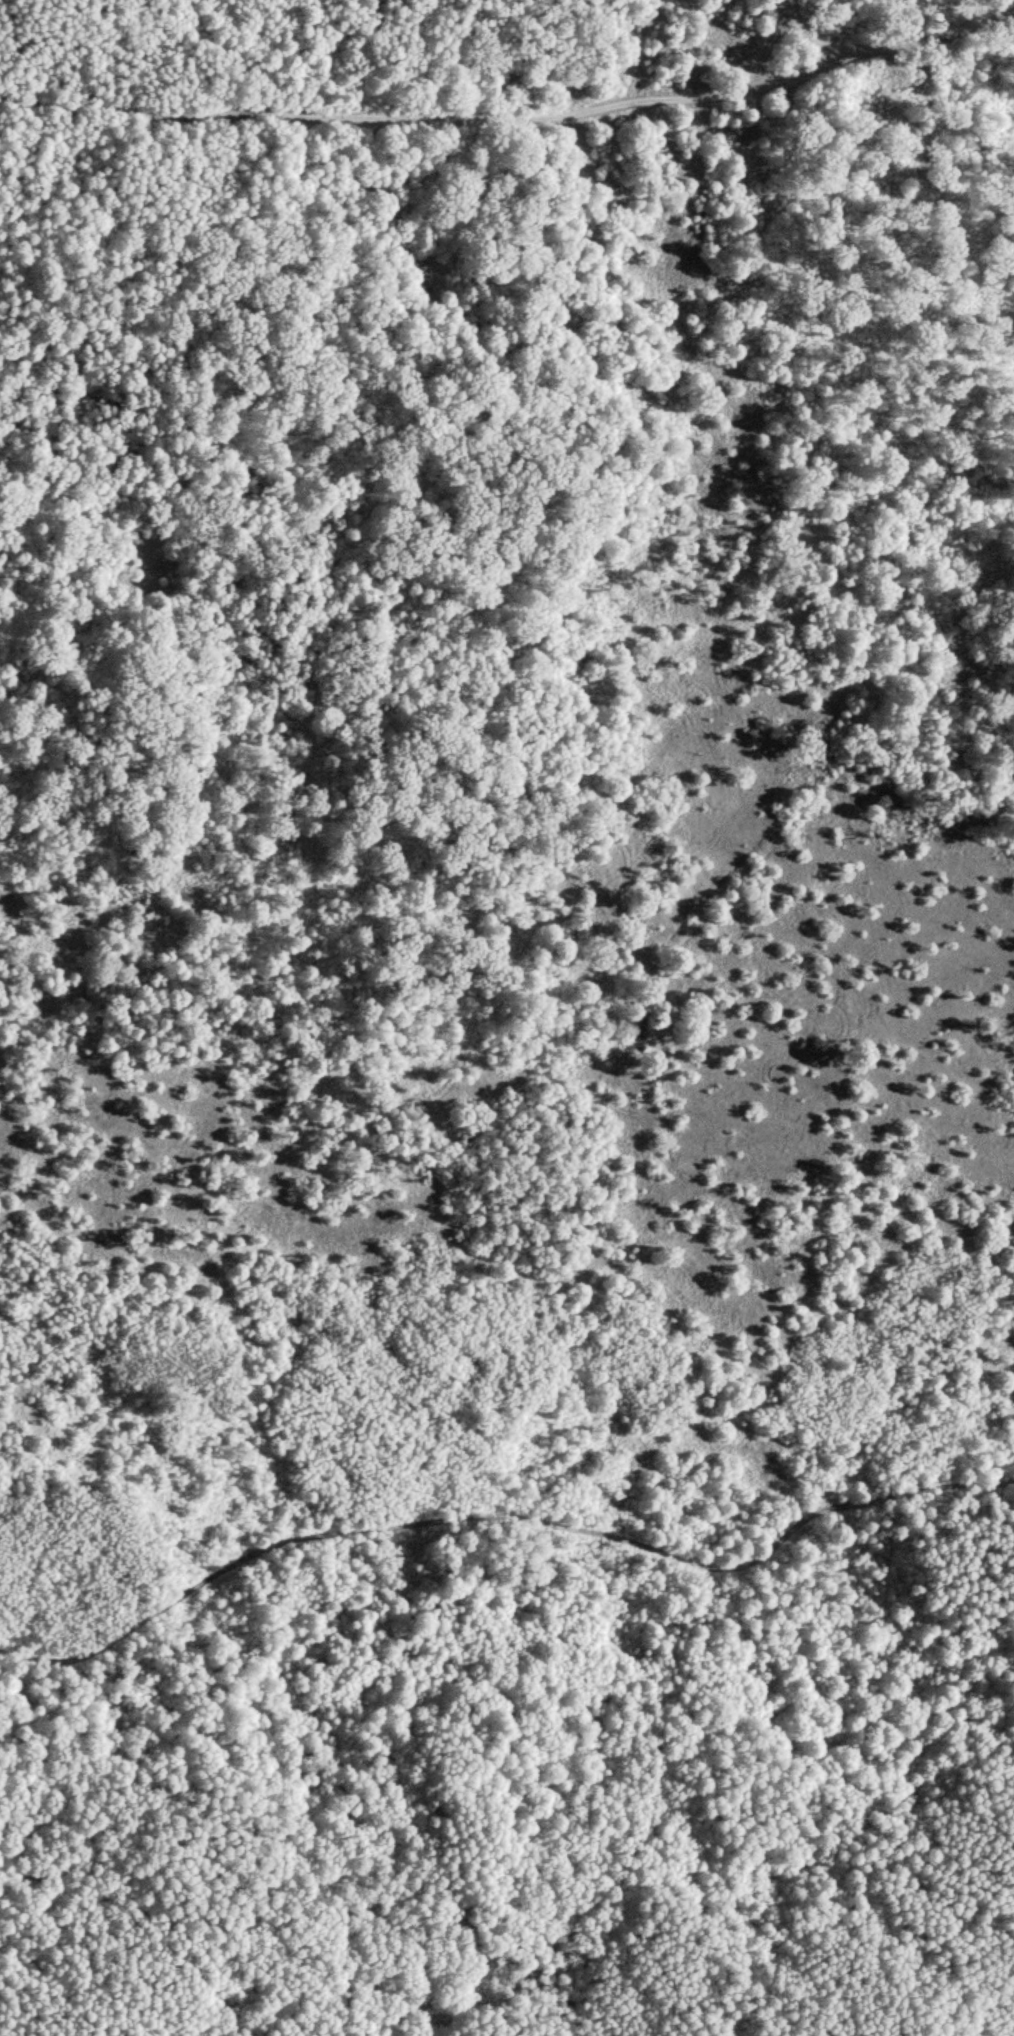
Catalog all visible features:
road: (772, 42)
road: (514, 119)
road: (503, 1520)

